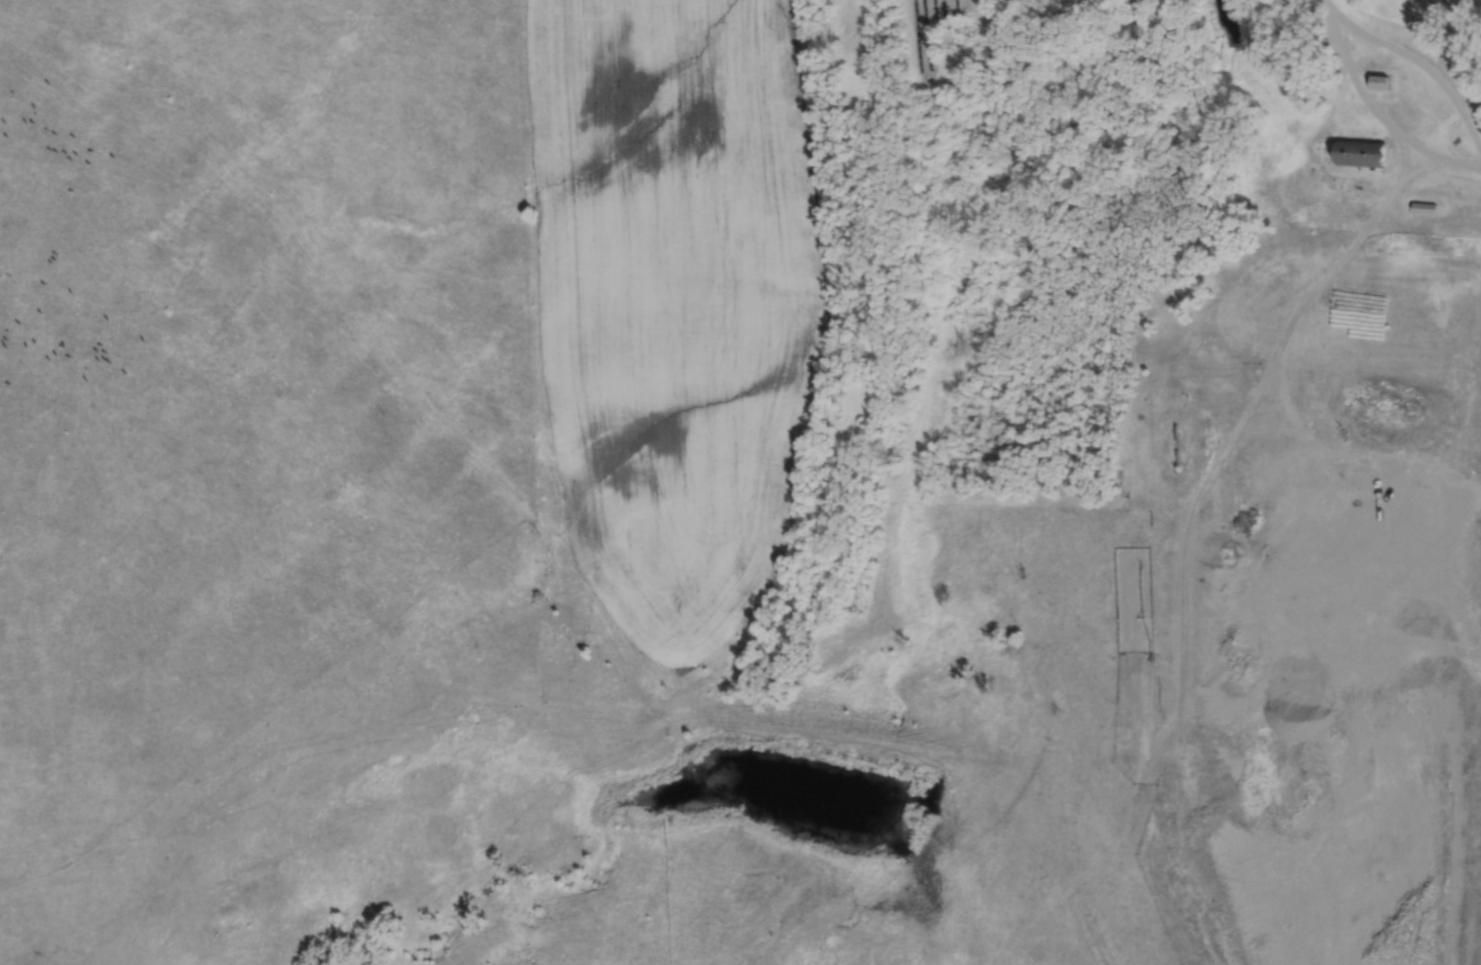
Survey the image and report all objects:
building: (1378, 83)
road: (1380, 107)
building: (1354, 147)

